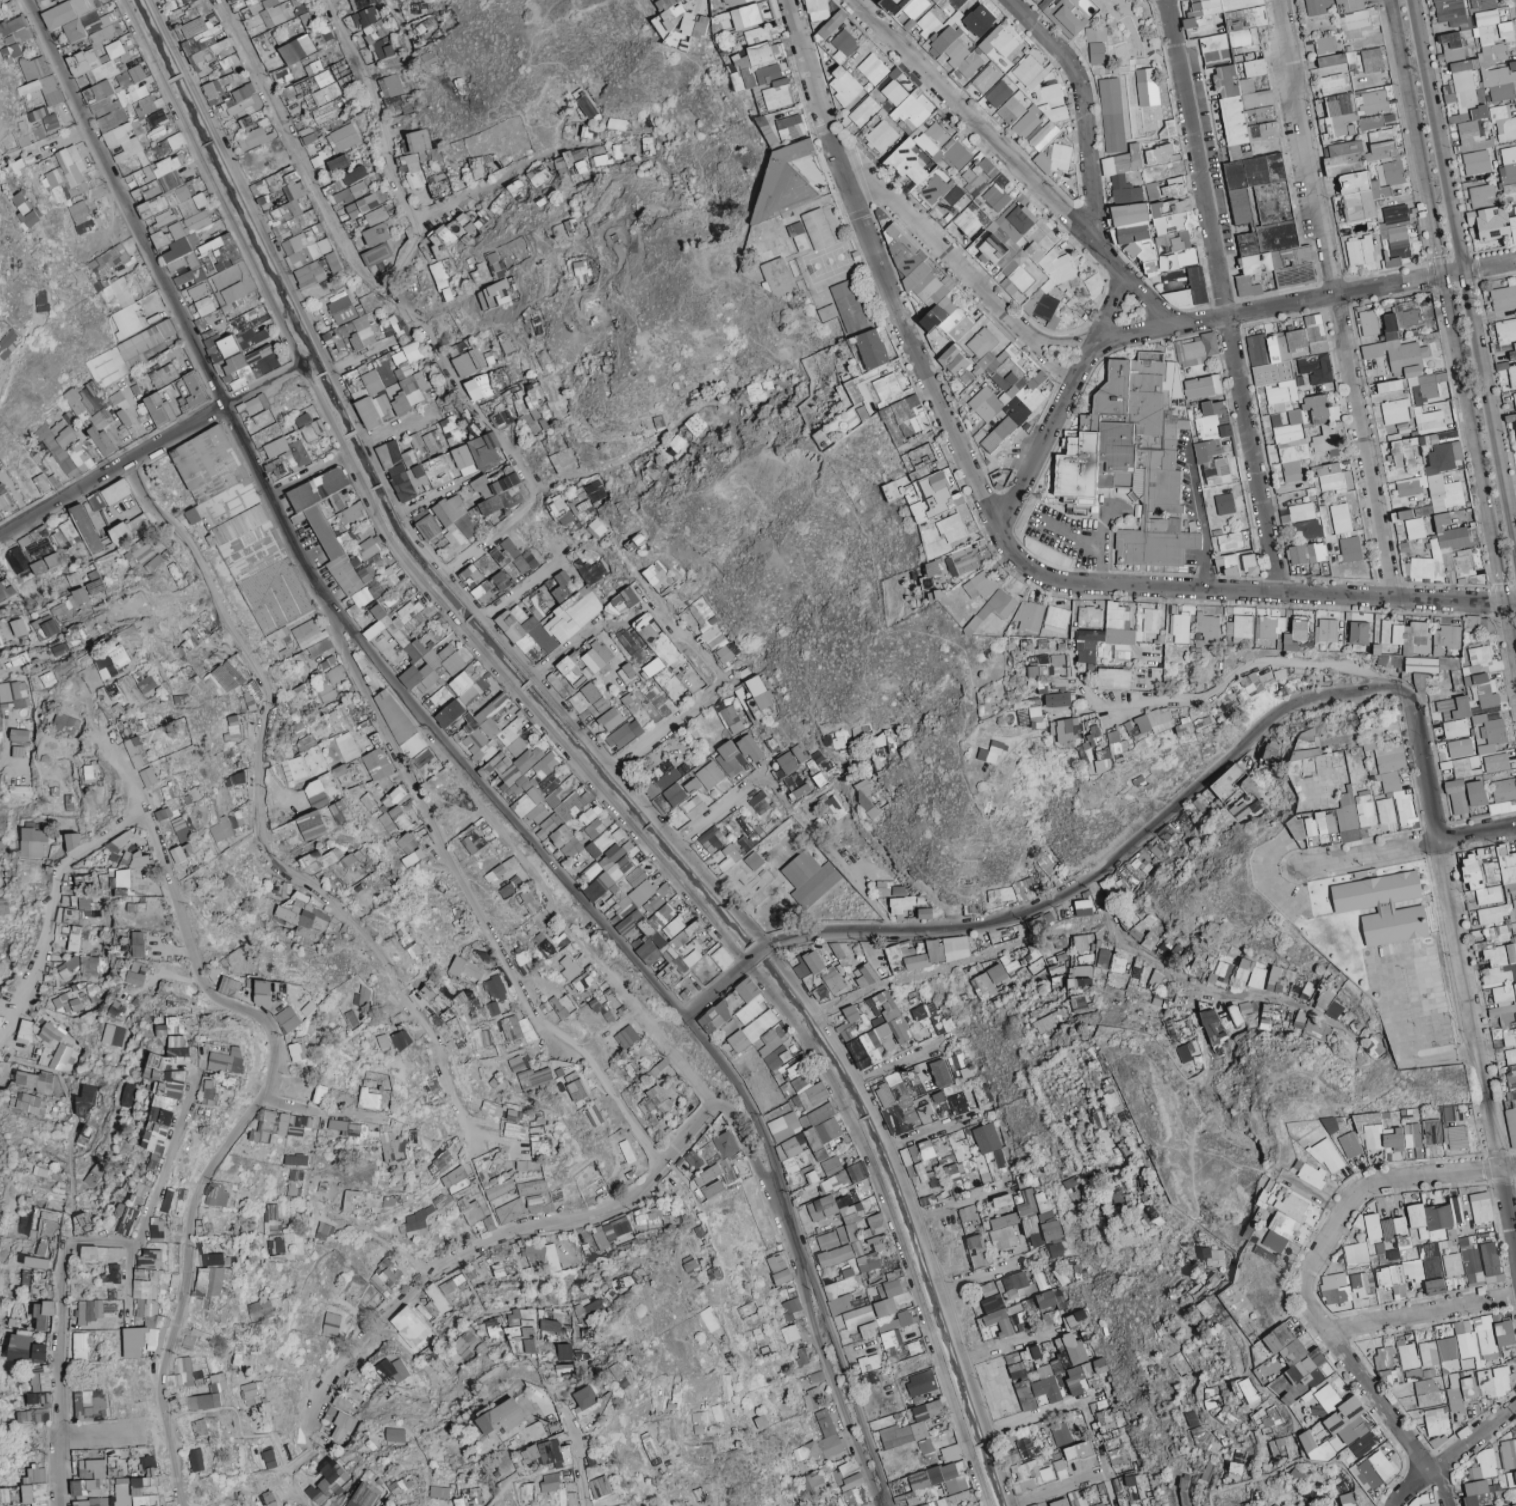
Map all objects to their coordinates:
building: (232, 0)
building: (373, 1)
building: (736, 1)
building: (177, 2)
building: (1042, 2)
building: (359, 4)
building: (665, 4)
building: (202, 6)
building: (1319, 7)
building: (417, 8)
building: (818, 9)
building: (265, 12)
building: (1352, 15)
building: (75, 16)
building: (747, 16)
building: (306, 19)
building: (675, 21)
building: (722, 22)
building: (369, 23)
building: (1455, 24)
building: (831, 25)
building: (424, 26)
building: (700, 27)
building: (1233, 28)
building: (14, 30)
building: (323, 34)
building: (102, 35)
building: (197, 35)
building: (955, 36)
building: (1324, 42)
building: (1096, 43)
building: (844, 45)
building: (382, 48)
building: (12, 52)
building: (208, 55)
building: (282, 55)
building: (428, 57)
building: (33, 65)
building: (873, 69)
building: (763, 71)
building: (903, 80)
building: (108, 83)
building: (845, 86)
building: (895, 87)
building: (234, 88)
building: (43, 89)
building: (313, 89)
building: (394, 95)
building: (586, 106)
building: (325, 114)
building: (45, 118)
building: (251, 119)
building: (2, 131)
building: (38, 132)
building: (157, 132)
building: (308, 136)
building: (251, 138)
building: (343, 138)
building: (121, 139)
building: (23, 140)
building: (176, 140)
building: (155, 149)

